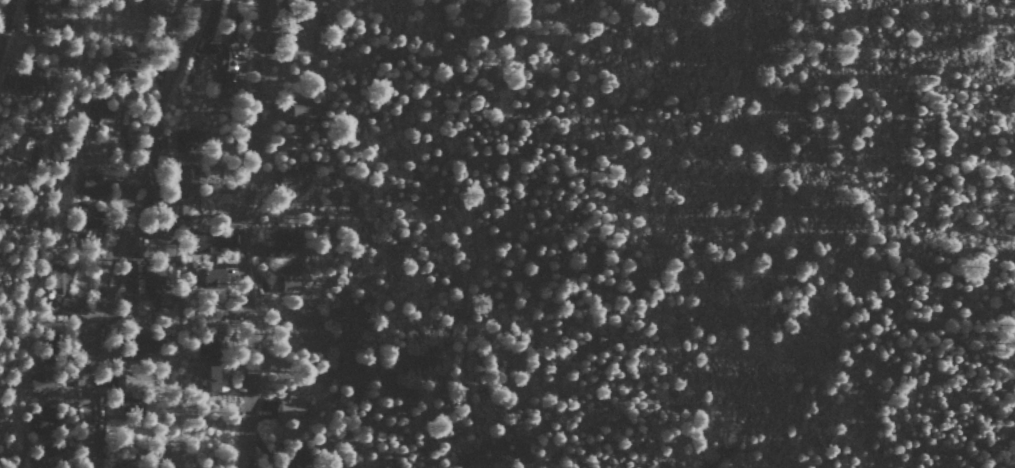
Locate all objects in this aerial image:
building: (155, 7)
building: (55, 13)
road: (4, 22)
building: (301, 42)
building: (120, 60)
building: (226, 62)
building: (29, 79)
building: (102, 111)
building: (301, 112)
building: (184, 144)
building: (24, 145)
building: (186, 176)
road: (852, 176)
building: (292, 177)
building: (93, 186)
building: (180, 208)
building: (2, 215)
road: (117, 226)
road: (247, 233)
building: (206, 242)
building: (287, 244)
building: (160, 245)
building: (213, 276)
building: (156, 277)
building: (290, 277)
building: (57, 279)
building: (68, 305)
building: (140, 343)
building: (217, 377)
building: (135, 380)
building: (42, 382)
building: (130, 406)
building: (292, 409)
building: (41, 418)
building: (51, 453)
building: (301, 460)
building: (130, 464)

